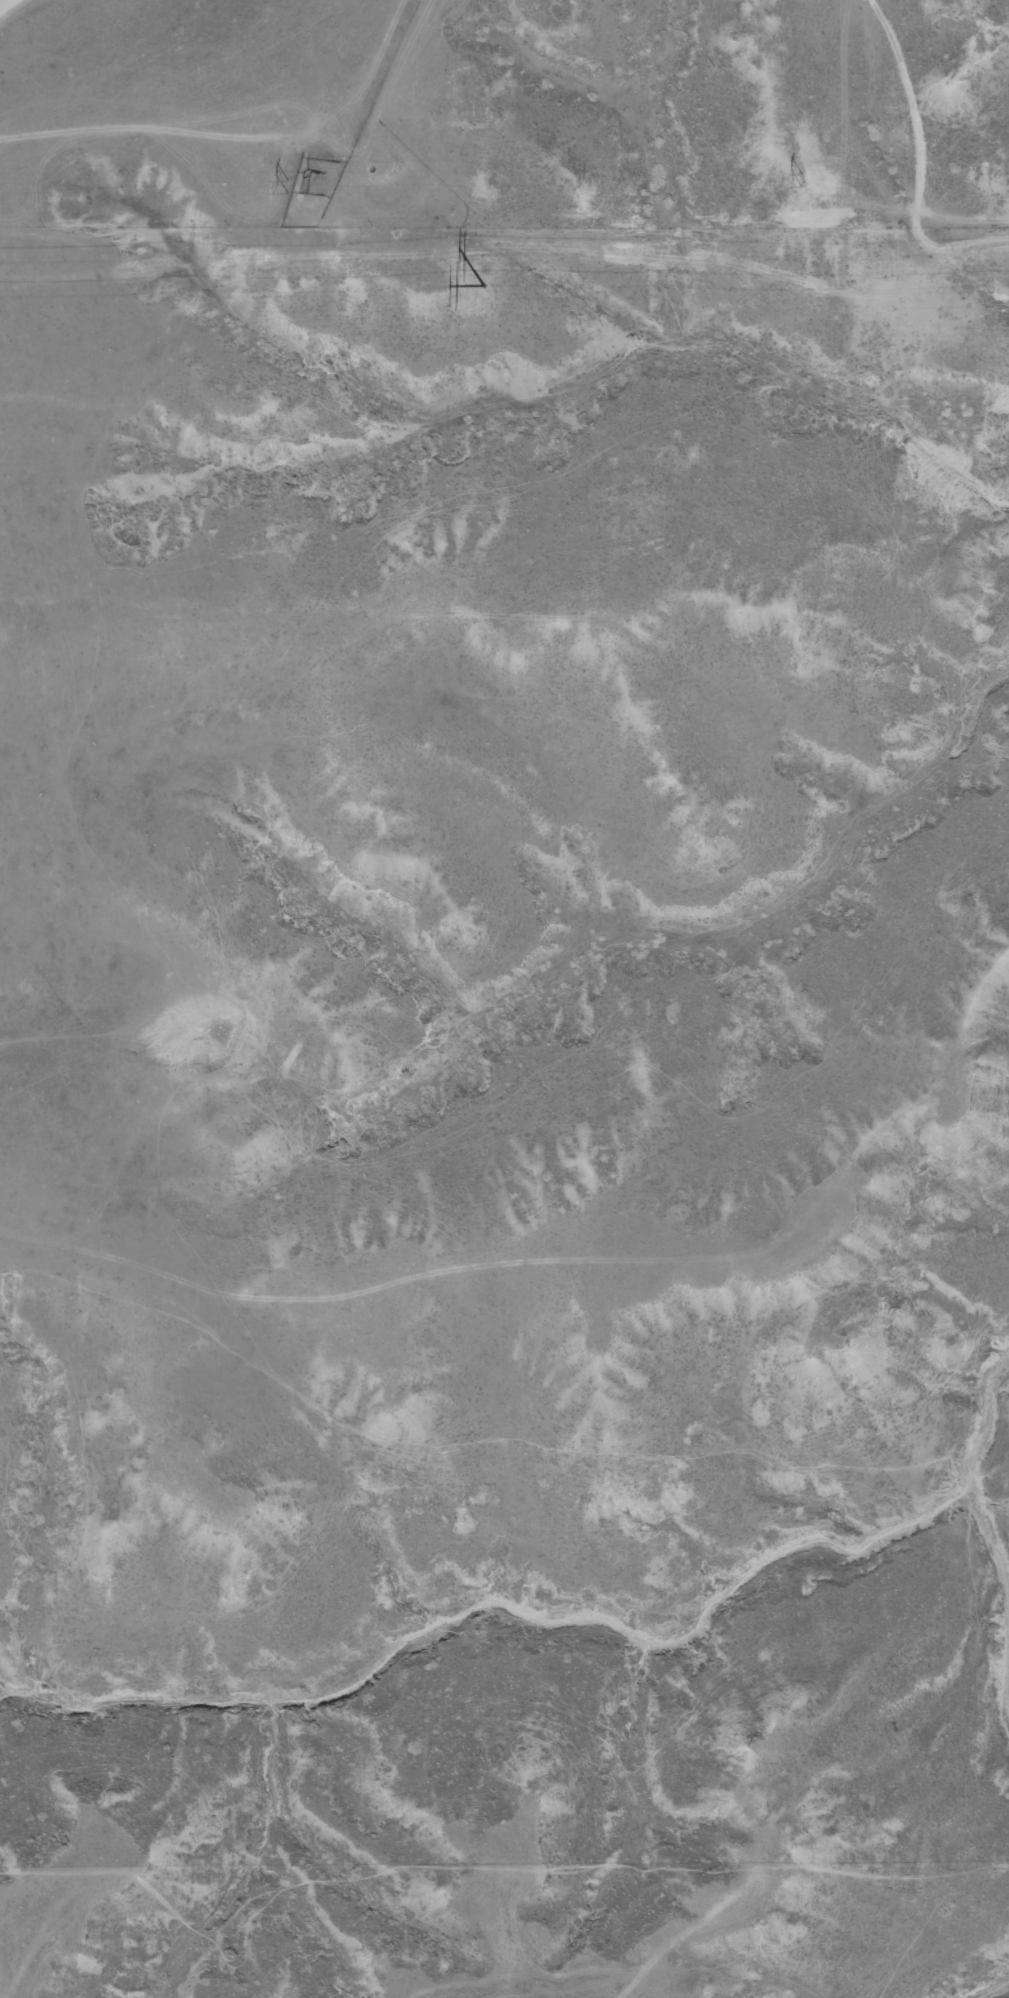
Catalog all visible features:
road: (10, 10)
power tower: (803, 179)
road: (949, 179)
power tower: (285, 186)
power tower: (485, 286)

